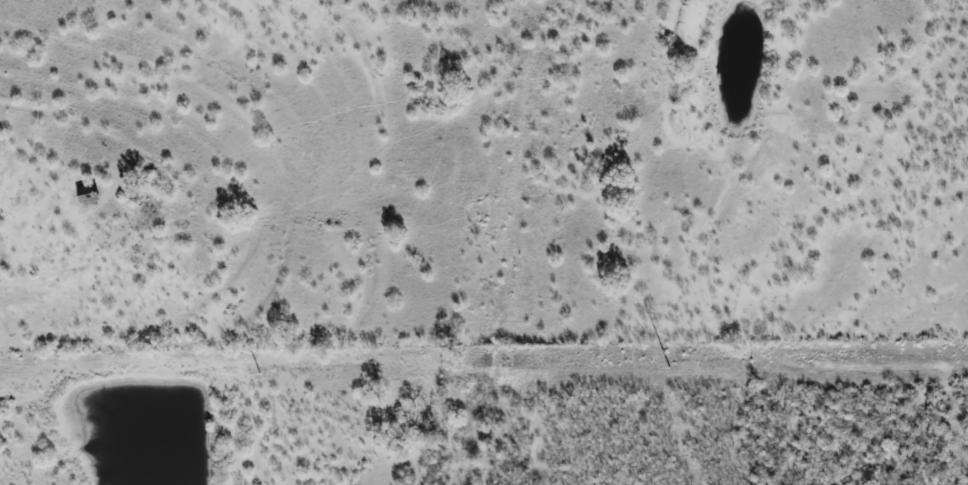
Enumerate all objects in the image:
power tower: (669, 368)
power tower: (258, 375)

